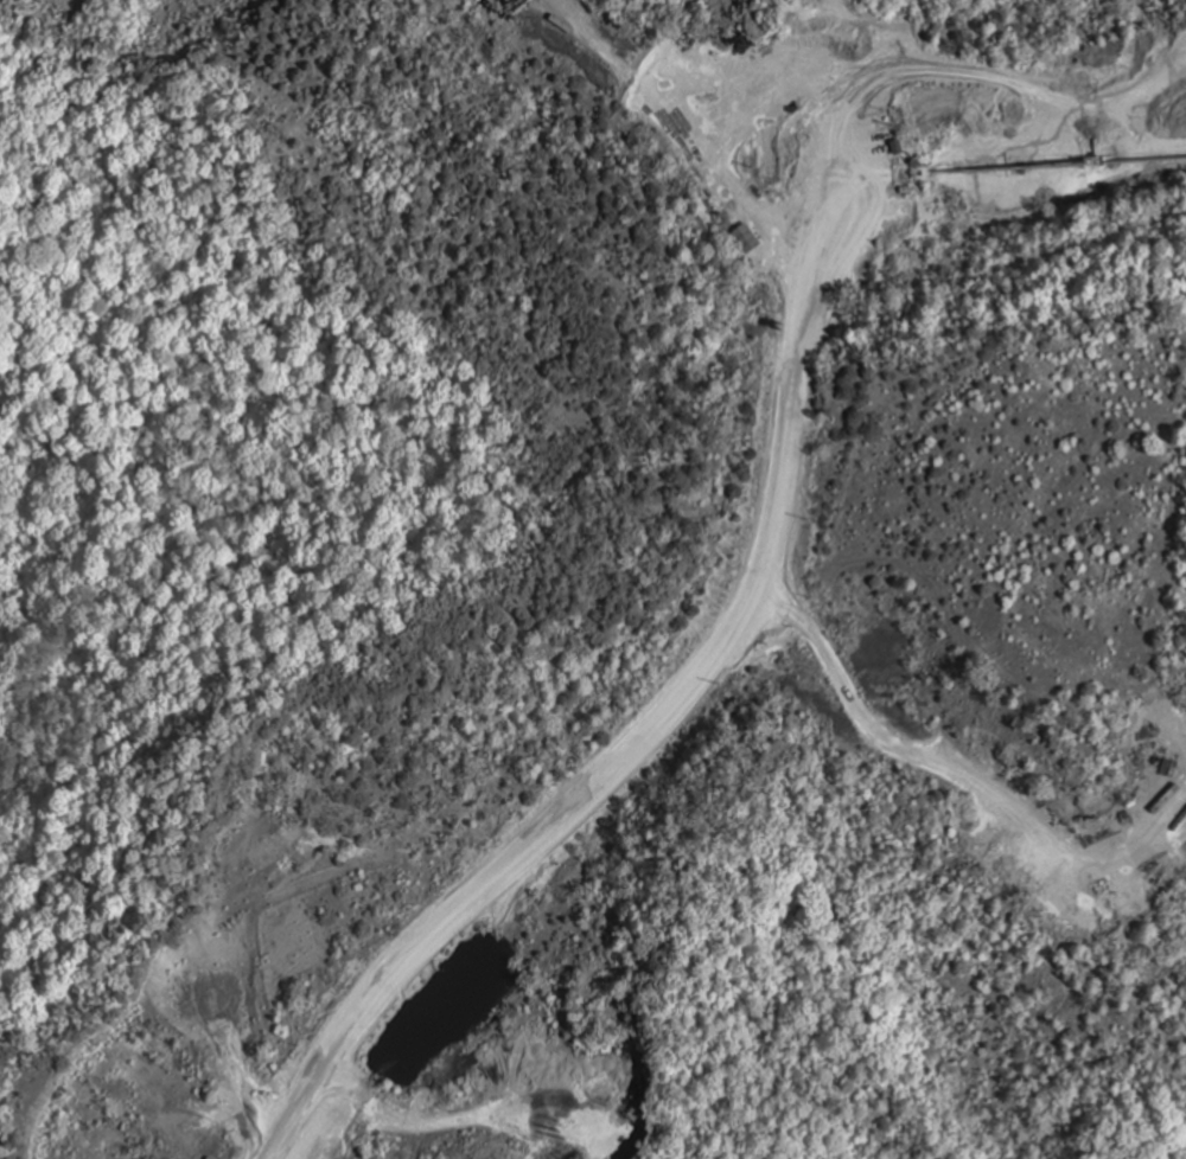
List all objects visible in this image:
road: (760, 545)
road: (940, 768)

